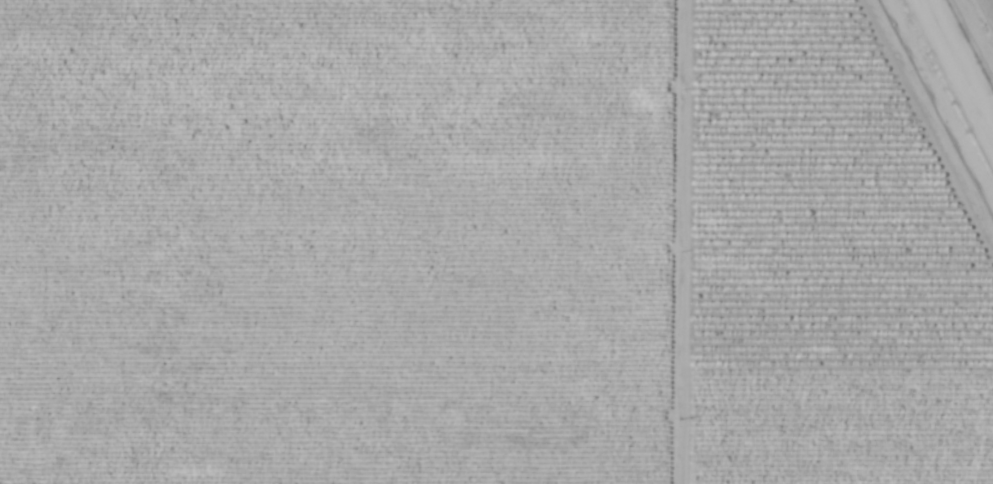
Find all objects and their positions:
railway: (956, 70)
railway: (951, 81)
crop: (332, 241)
road: (675, 242)
crop: (819, 266)

